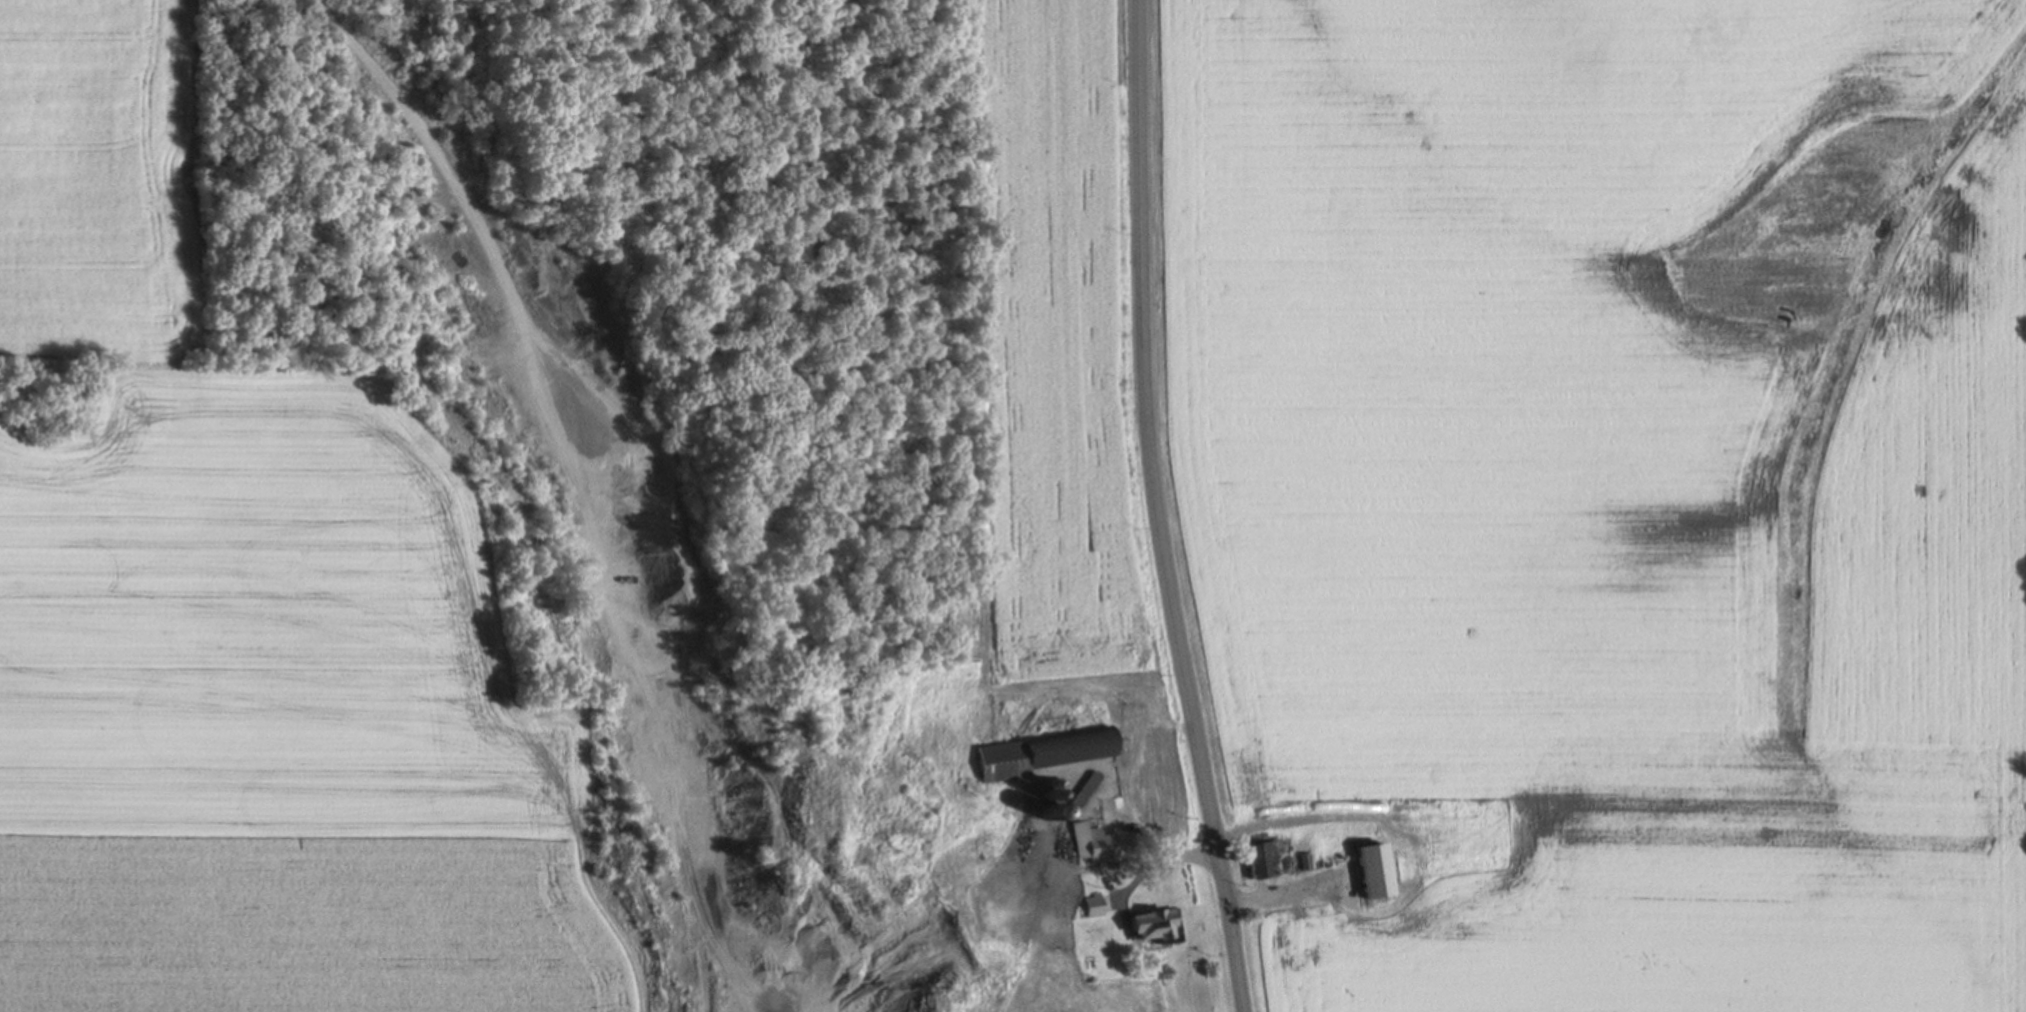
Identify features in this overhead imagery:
road: (468, 181)
quarry: (550, 419)
road: (1159, 509)
road: (969, 614)
building: (1225, 708)
building: (1042, 753)
building: (1081, 794)
building: (1093, 841)
building: (1263, 858)
road: (1114, 862)
road: (1150, 868)
building: (1372, 868)
road: (1283, 895)
building: (1093, 905)
building: (1156, 925)
road: (648, 984)

